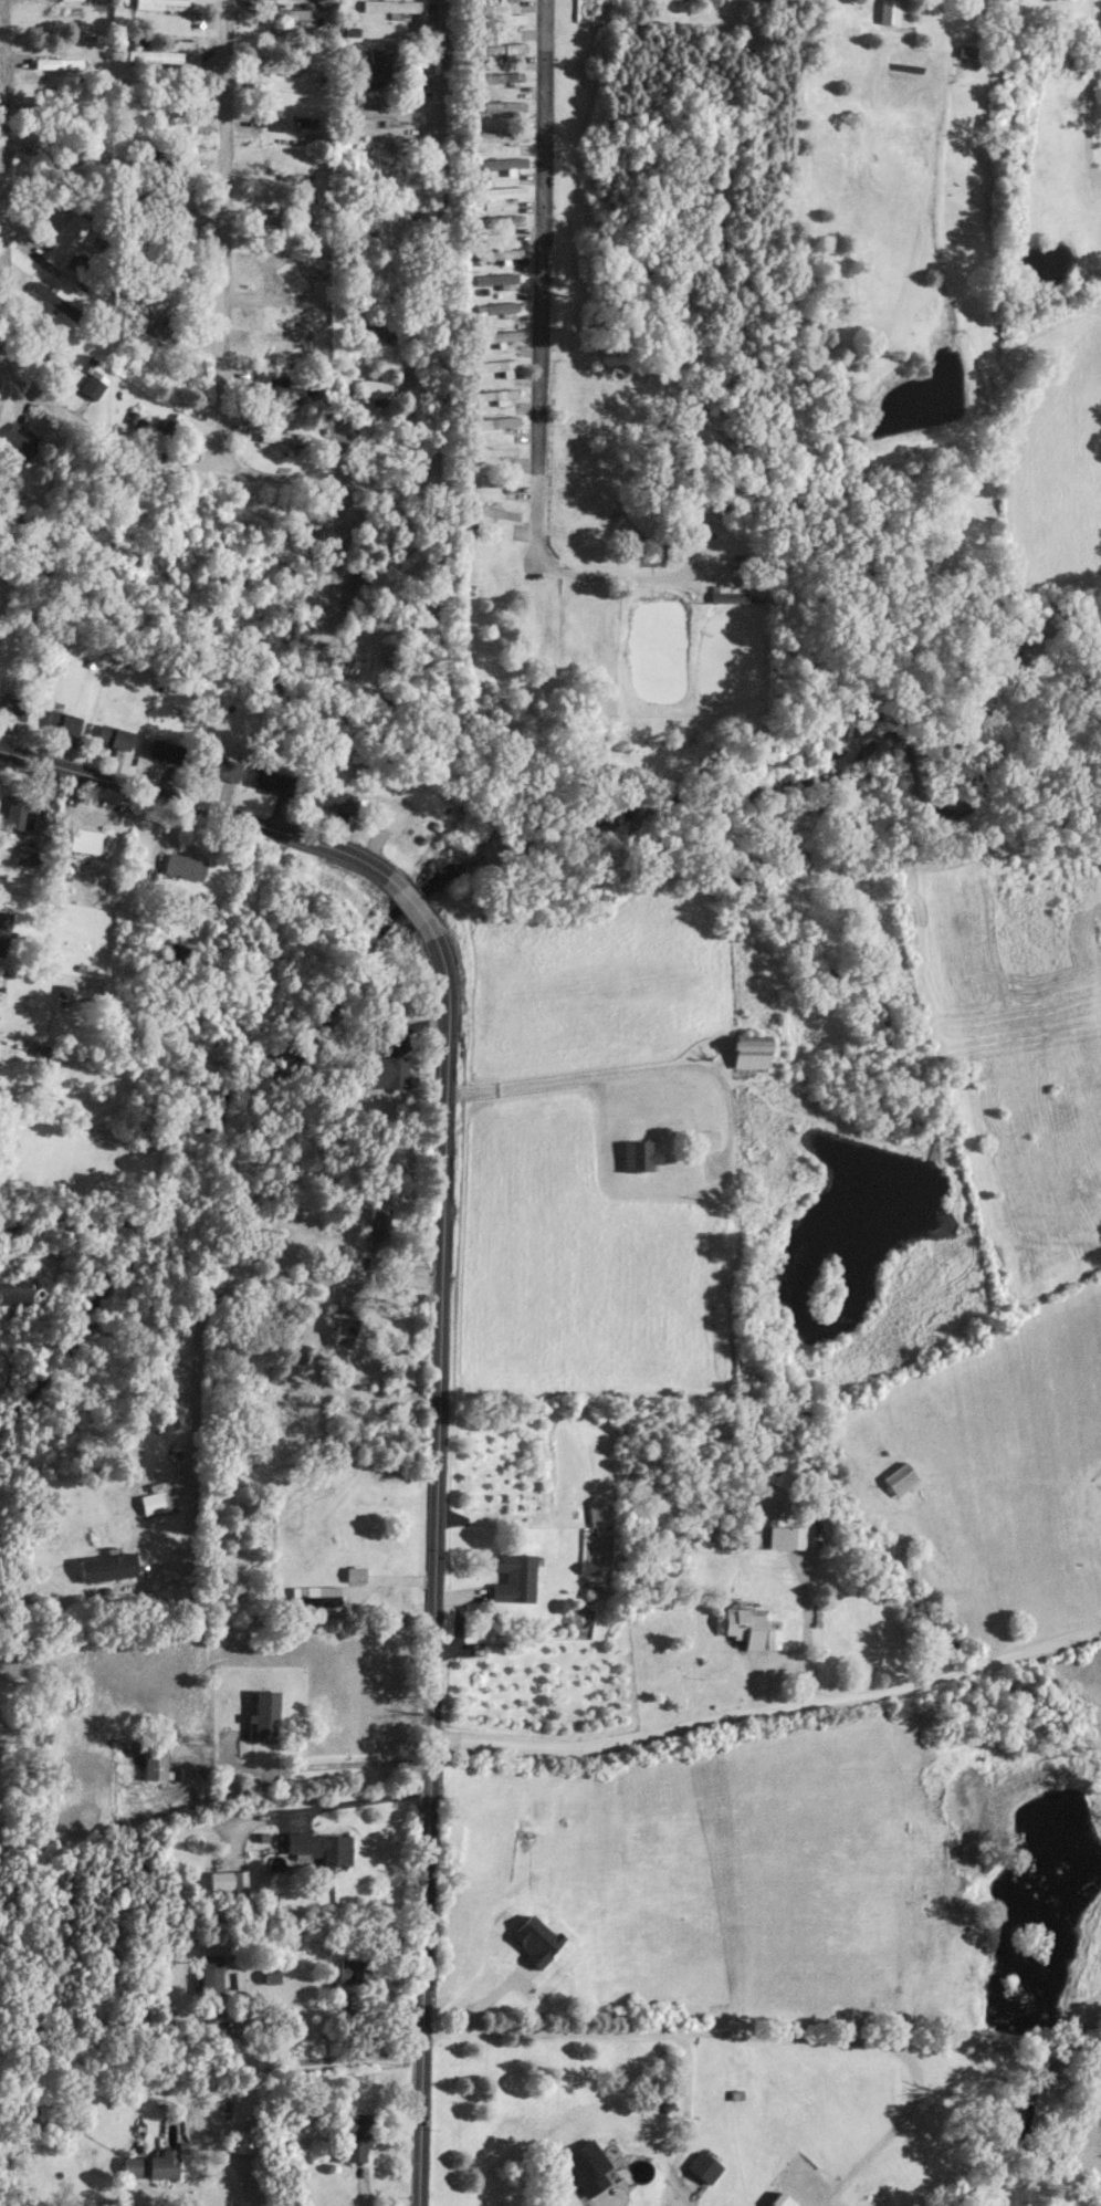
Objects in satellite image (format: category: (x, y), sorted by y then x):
building: (161, 3)
building: (289, 11)
building: (896, 12)
building: (504, 18)
building: (501, 46)
building: (155, 54)
building: (60, 62)
building: (378, 62)
building: (285, 66)
building: (501, 75)
building: (504, 105)
building: (162, 108)
road: (1088, 112)
building: (381, 113)
building: (63, 119)
building: (502, 135)
building: (157, 156)
building: (502, 161)
building: (69, 170)
road: (1, 182)
building: (501, 191)
building: (175, 213)
building: (496, 219)
building: (291, 227)
road: (219, 237)
building: (67, 238)
road: (440, 242)
building: (500, 251)
building: (158, 261)
building: (298, 273)
building: (497, 276)
building: (54, 297)
building: (497, 305)
building: (159, 326)
building: (381, 328)
building: (499, 335)
road: (542, 352)
building: (48, 358)
building: (497, 364)
building: (156, 366)
building: (94, 381)
building: (284, 386)
building: (376, 386)
building: (497, 394)
building: (496, 421)
building: (376, 432)
building: (164, 436)
building: (284, 436)
building: (21, 439)
building: (500, 450)
road: (203, 471)
building: (500, 480)
building: (691, 492)
building: (497, 511)
building: (673, 552)
building: (13, 704)
building: (63, 720)
building: (115, 735)
building: (166, 749)
building: (218, 764)
building: (271, 780)
building: (331, 796)
building: (18, 811)
building: (25, 854)
building: (185, 865)
building: (4, 931)
building: (42, 1048)
building: (754, 1049)
building: (391, 1070)
road: (576, 1077)
building: (710, 1137)
building: (640, 1153)
building: (378, 1226)
building: (15, 1294)
road: (198, 1315)
road: (440, 1322)
building: (345, 1329)
building: (390, 1386)
building: (901, 1477)
building: (597, 1514)
building: (107, 1566)
building: (514, 1576)
building: (315, 1597)
road: (808, 1614)
building: (745, 1624)
road: (779, 1660)
road: (767, 1708)
building: (265, 1715)
building: (156, 1759)
road: (316, 1768)
road: (363, 1800)
building: (322, 1847)
building: (355, 1970)
building: (213, 1975)
road: (648, 2031)
road: (314, 2059)
road: (901, 2118)
road: (689, 2122)
building: (358, 2136)
building: (155, 2164)
building: (706, 2165)
building: (588, 2167)
building: (783, 2200)
road: (826, 2204)

